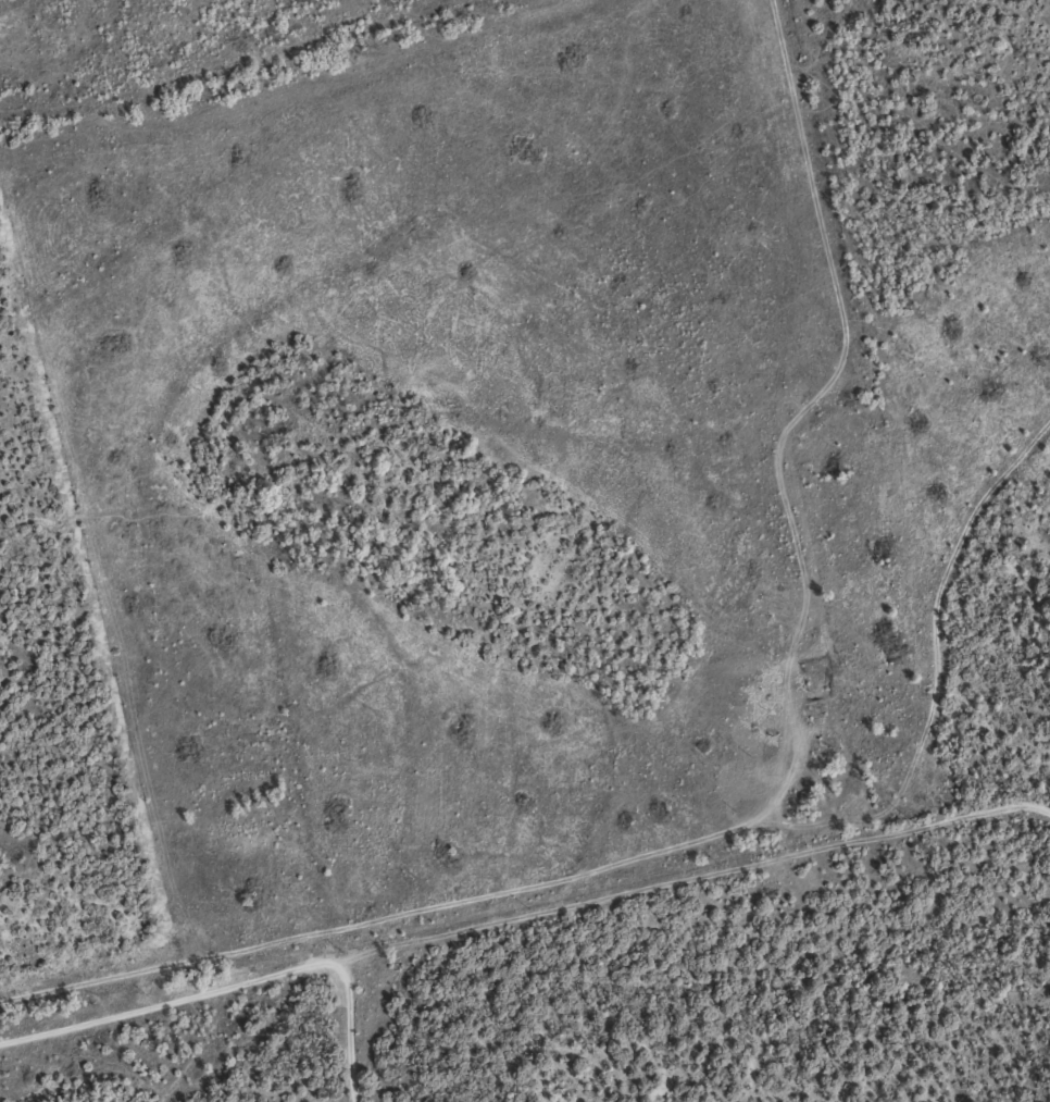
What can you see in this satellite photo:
road: (800, 797)

